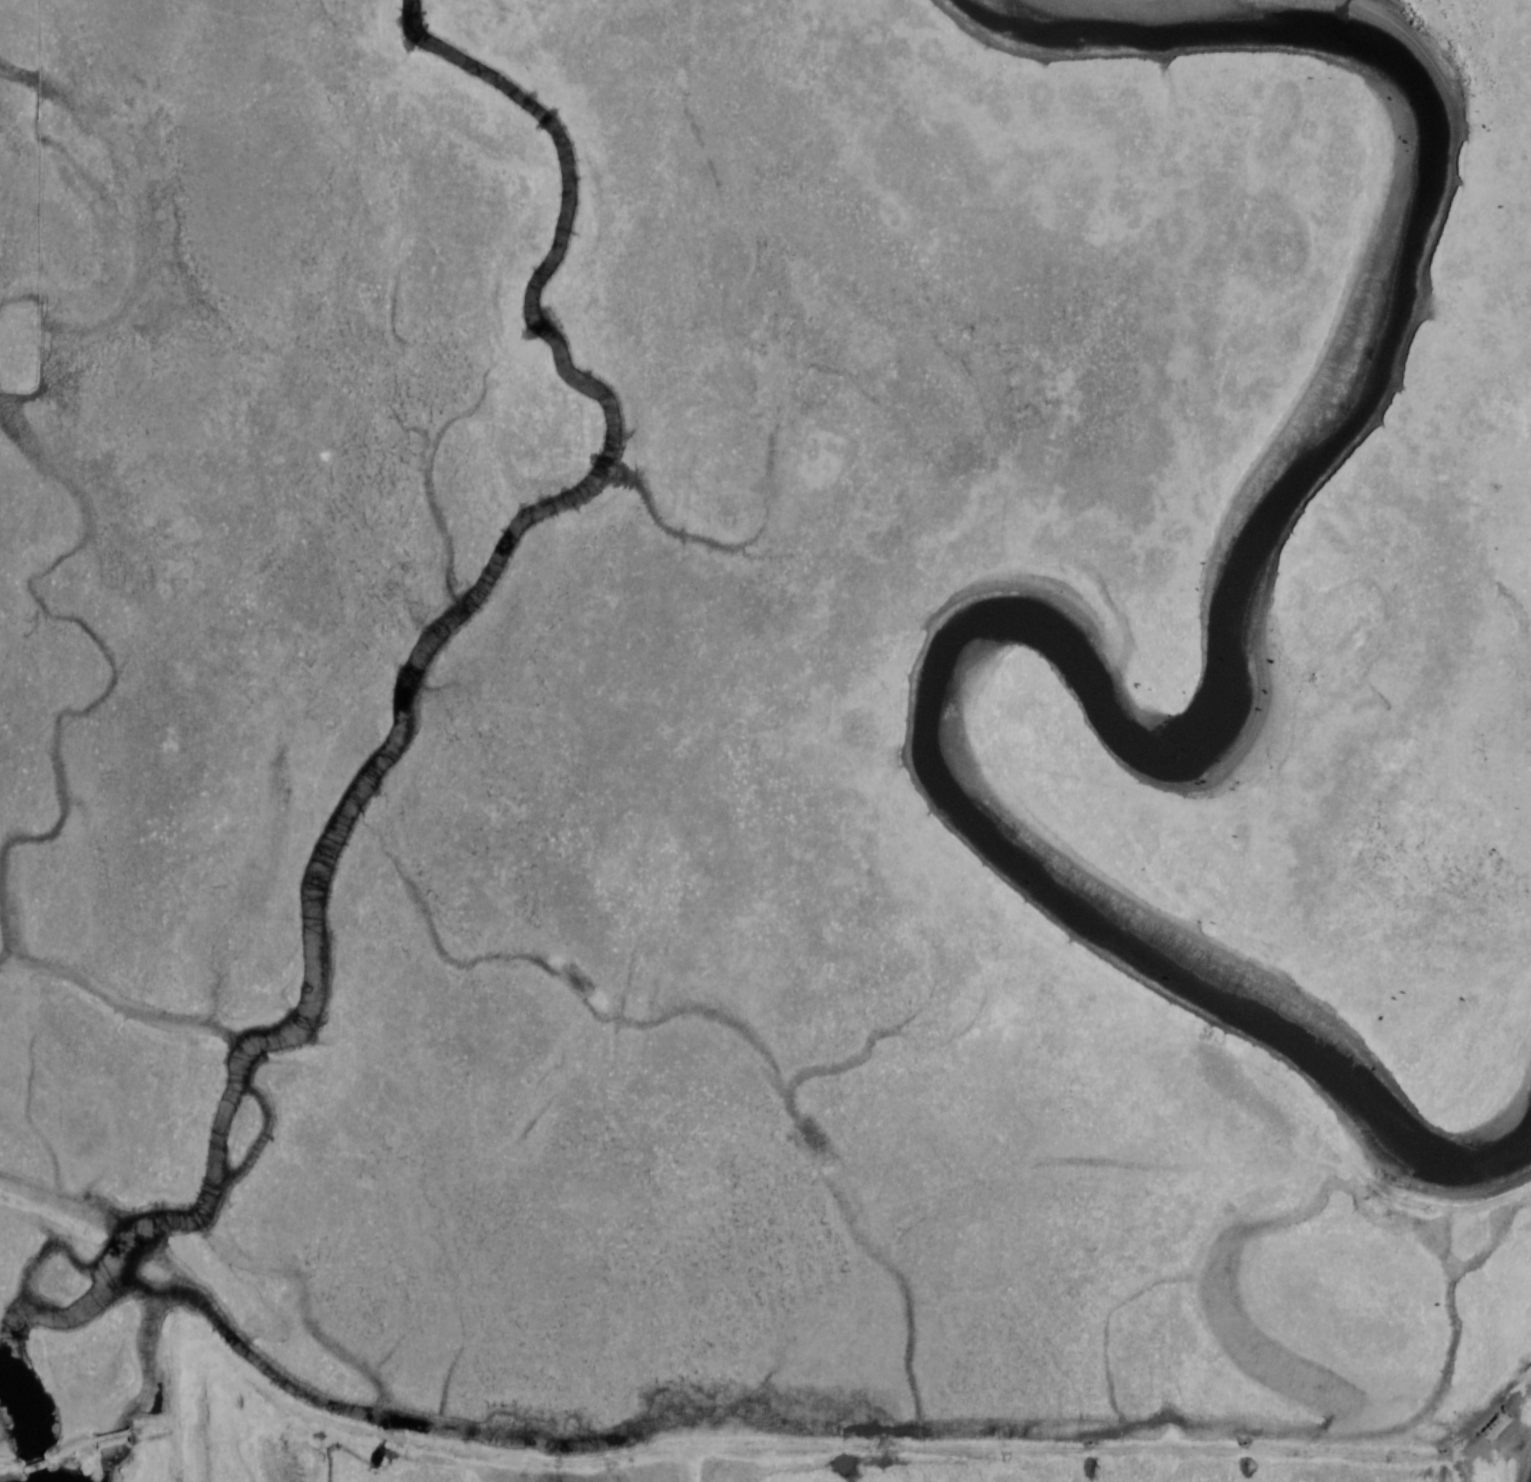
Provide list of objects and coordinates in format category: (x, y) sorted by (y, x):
river: (1206, 737)

